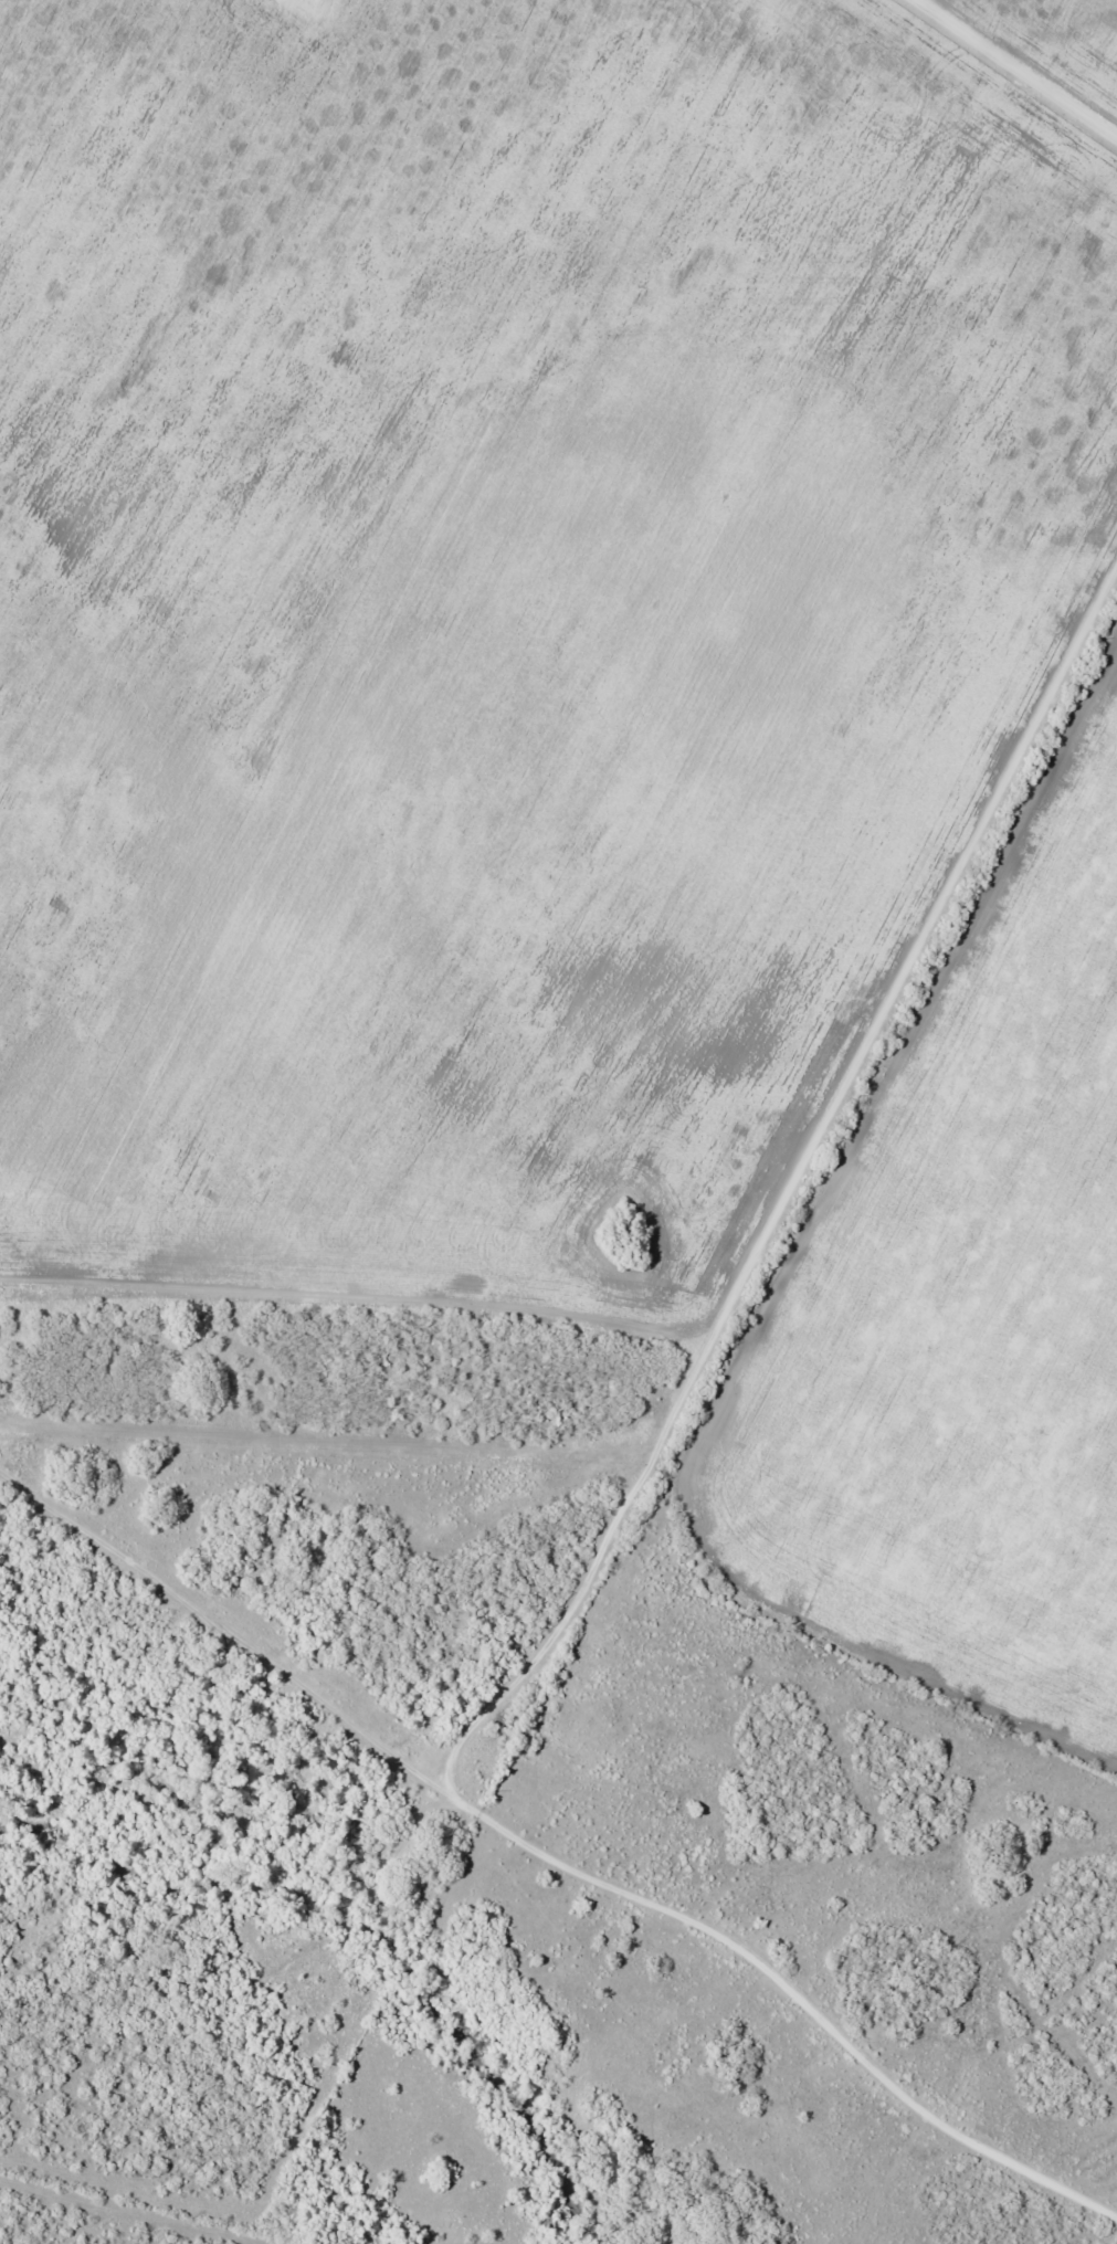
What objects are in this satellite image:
road: (577, 1582)
road: (217, 1630)

